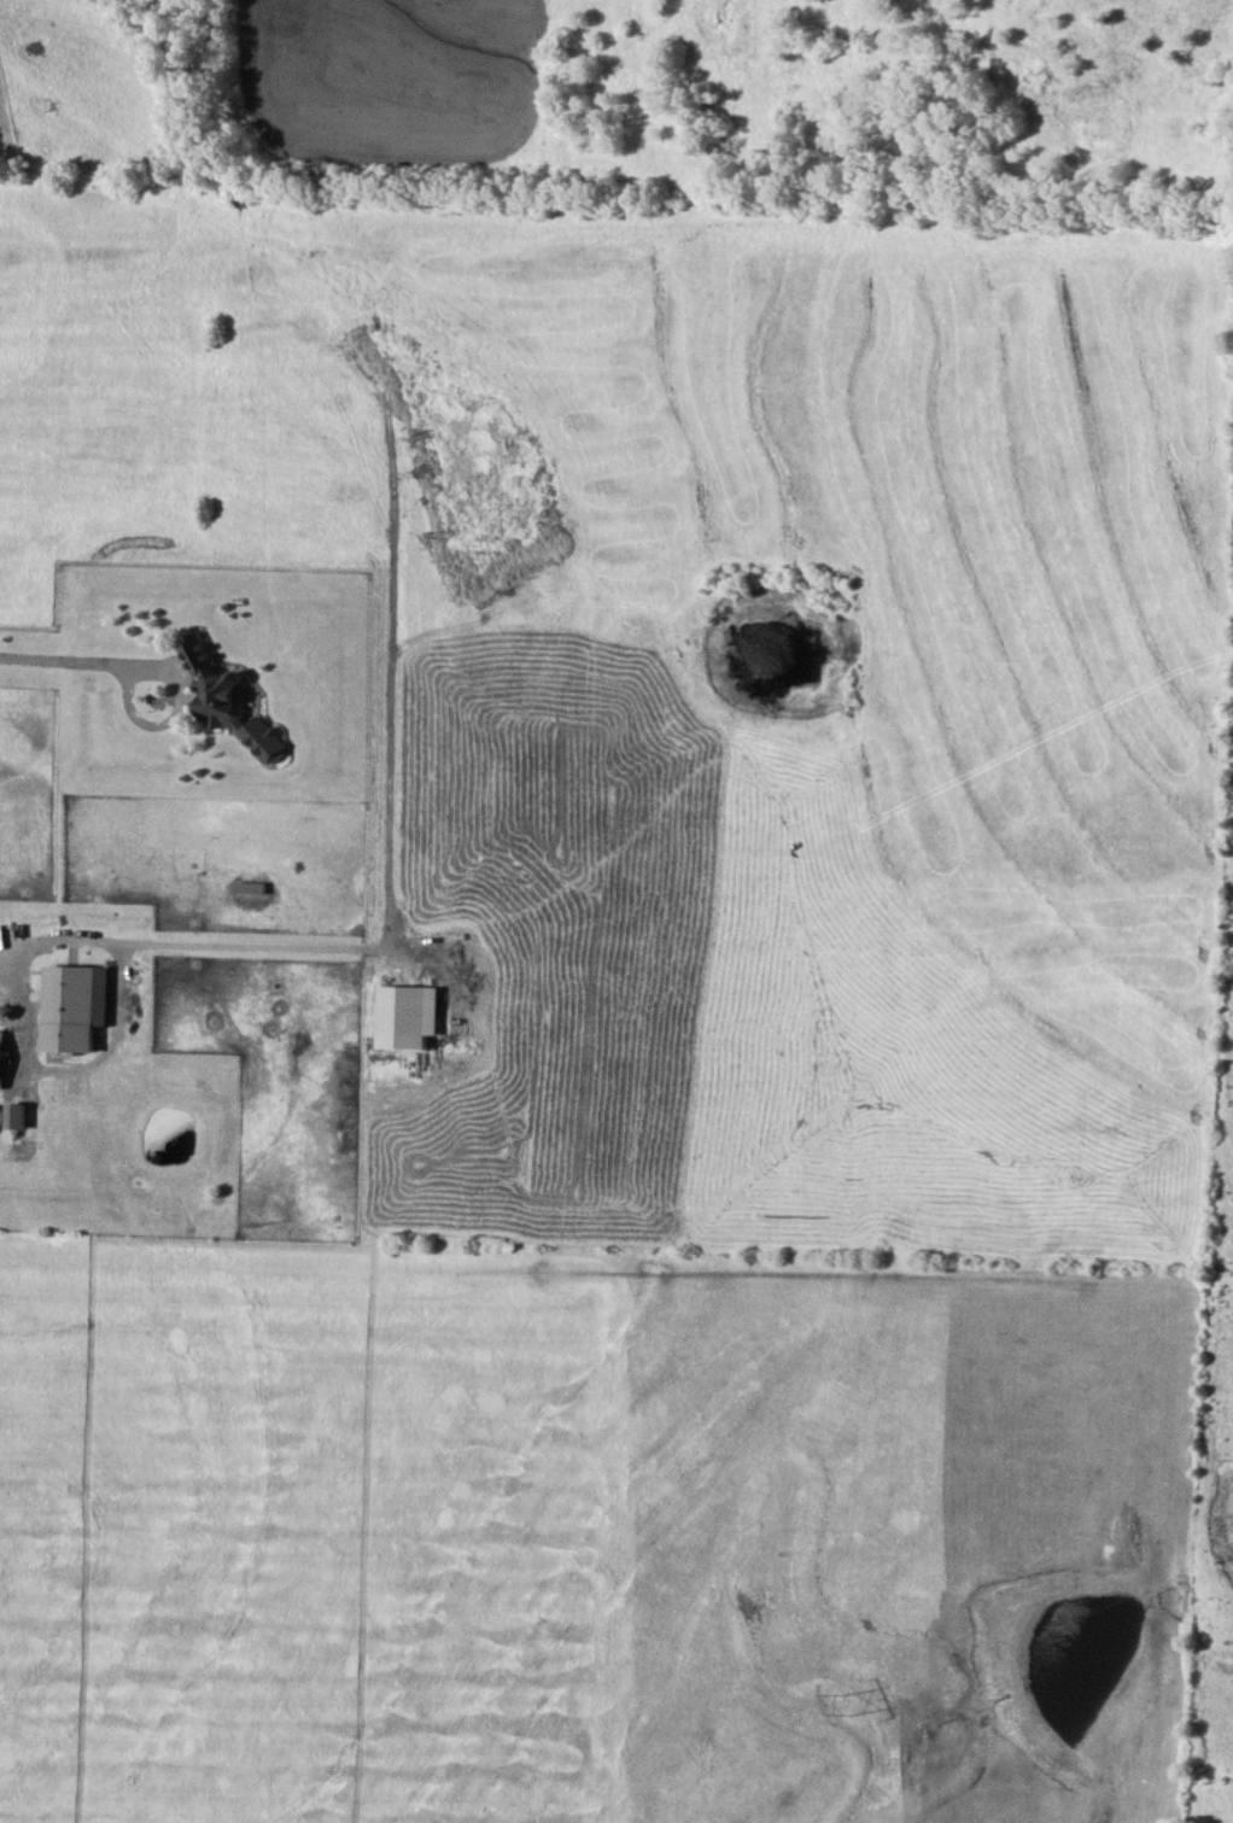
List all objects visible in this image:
road: (82, 664)
building: (233, 702)
road: (197, 948)
road: (23, 998)
building: (75, 1006)
building: (410, 1010)
building: (1, 1057)
building: (16, 1115)
power tower: (851, 1702)

